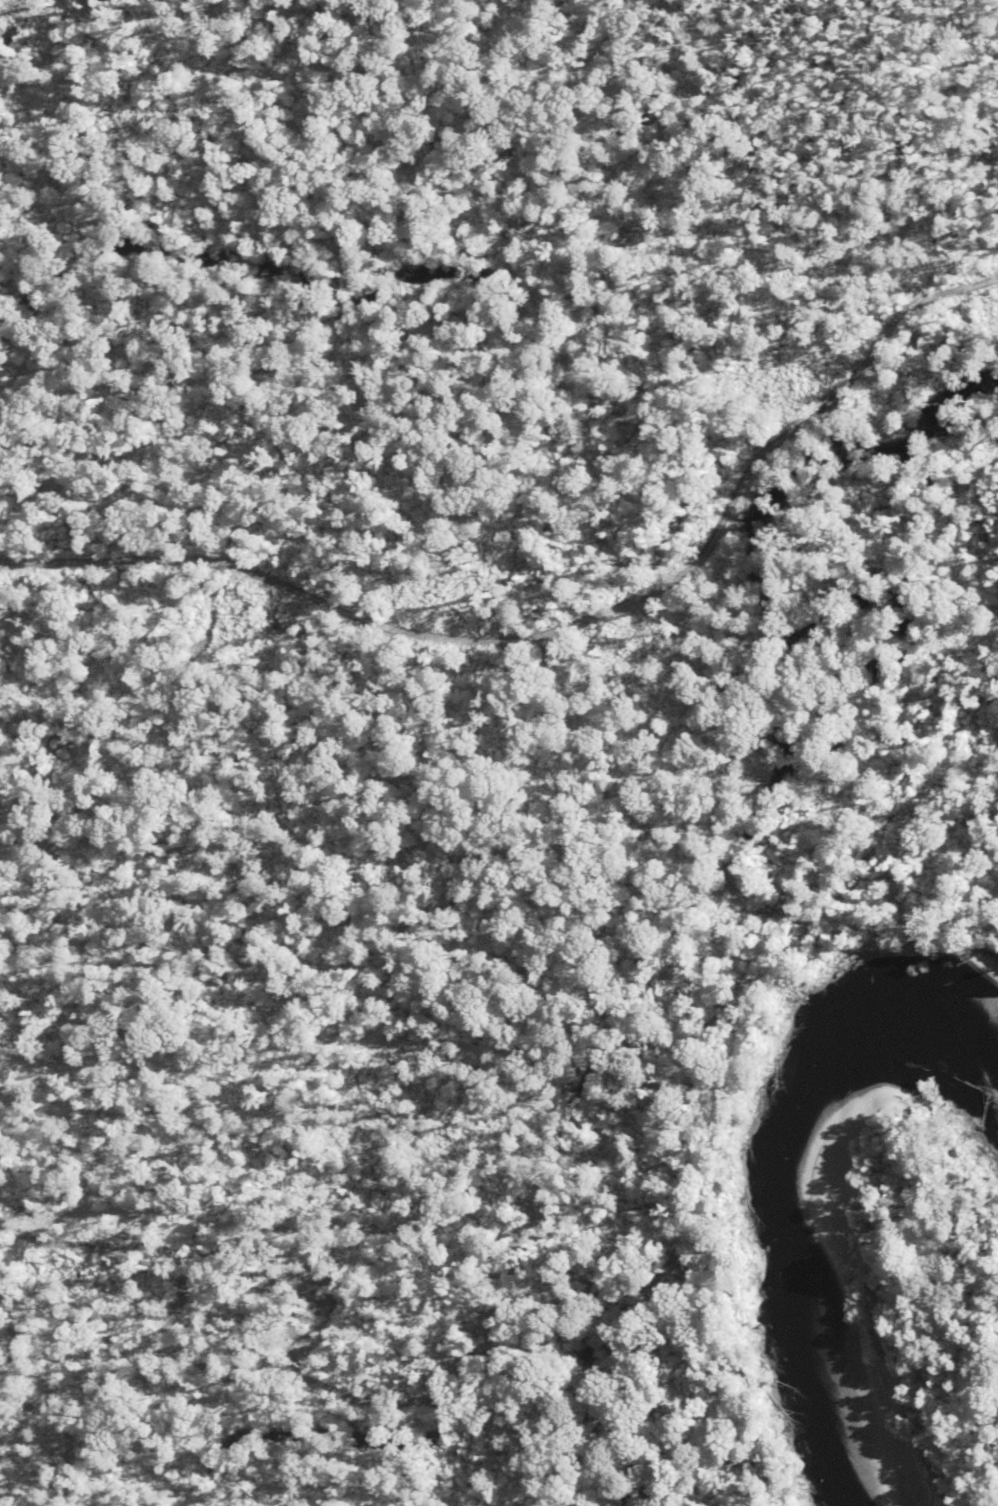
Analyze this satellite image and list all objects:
river: (843, 1223)

